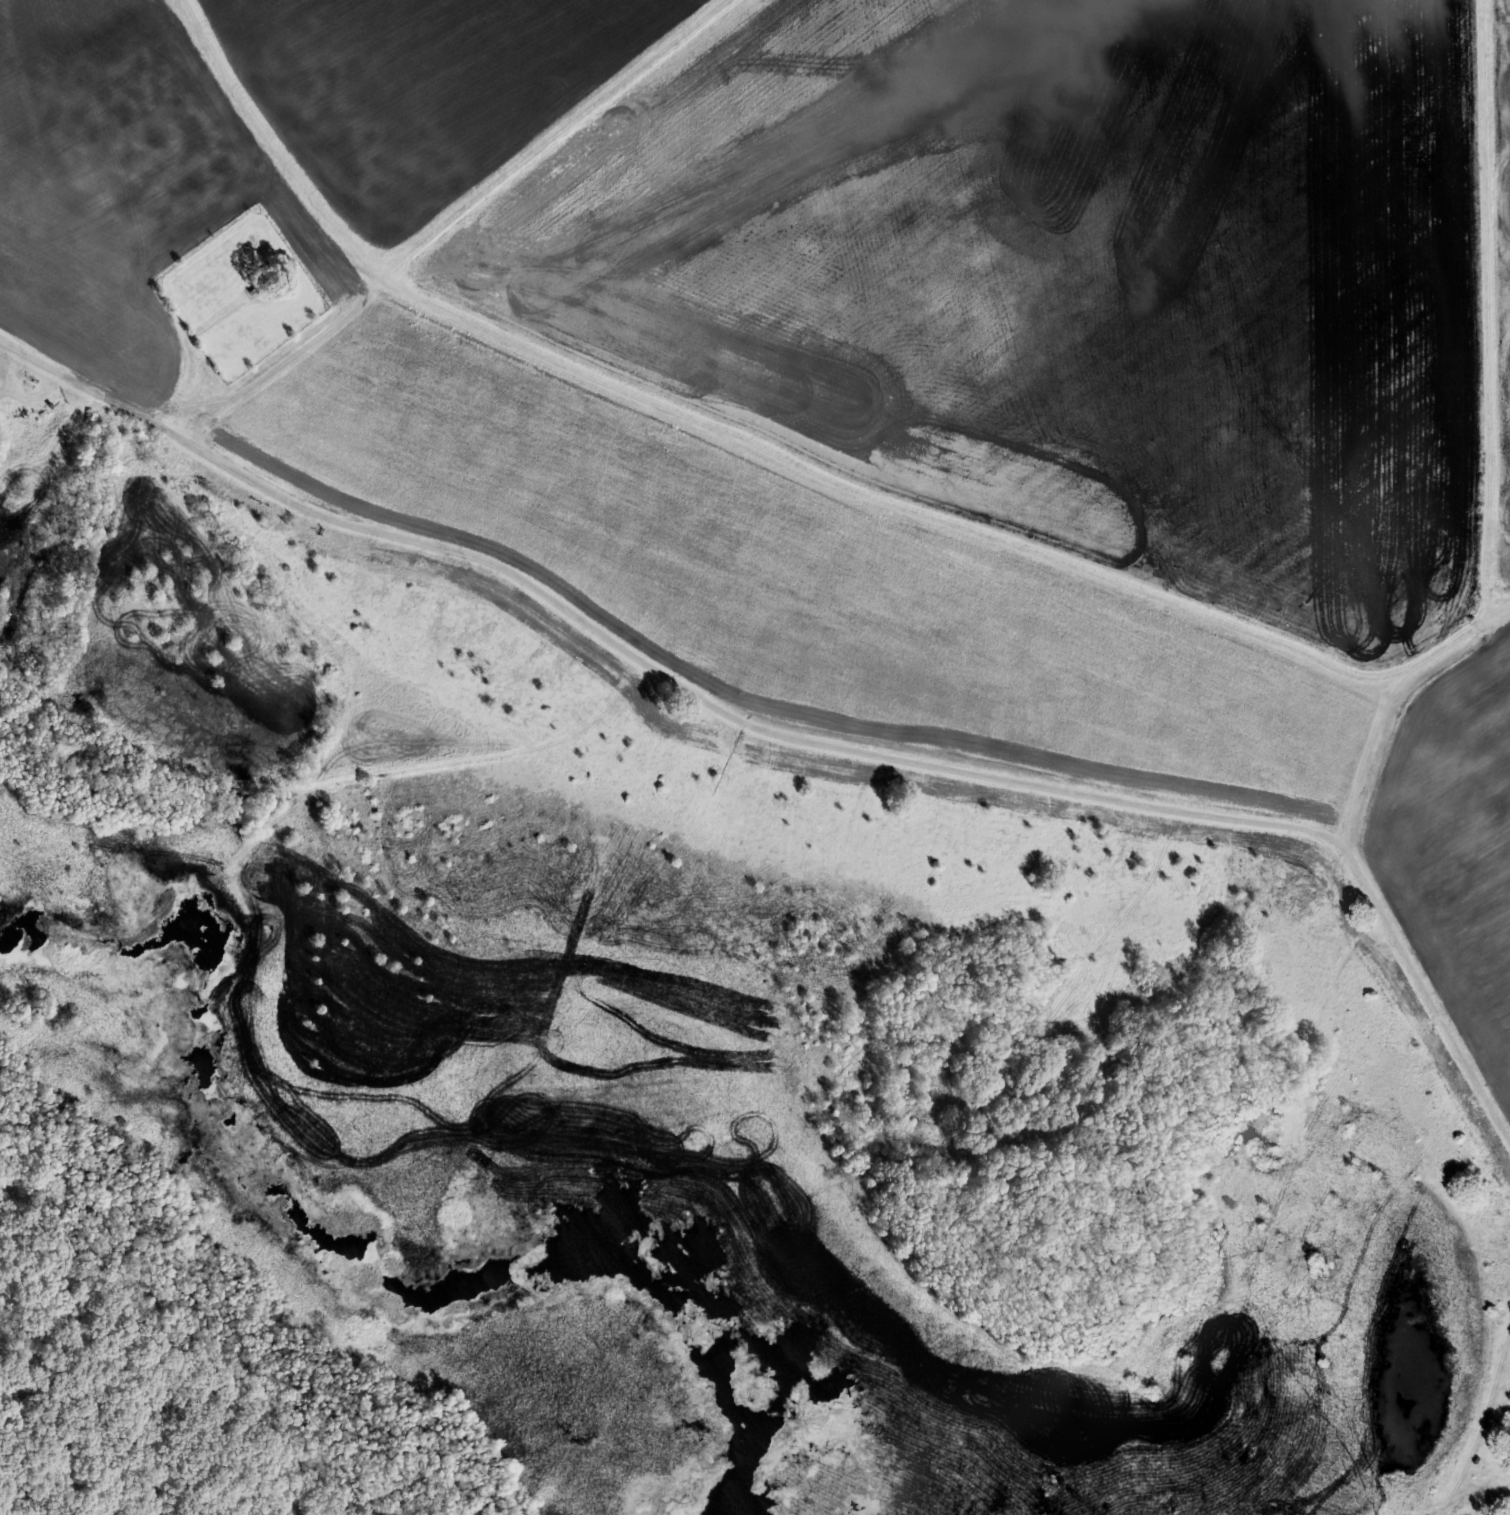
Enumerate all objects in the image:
road: (795, 735)

